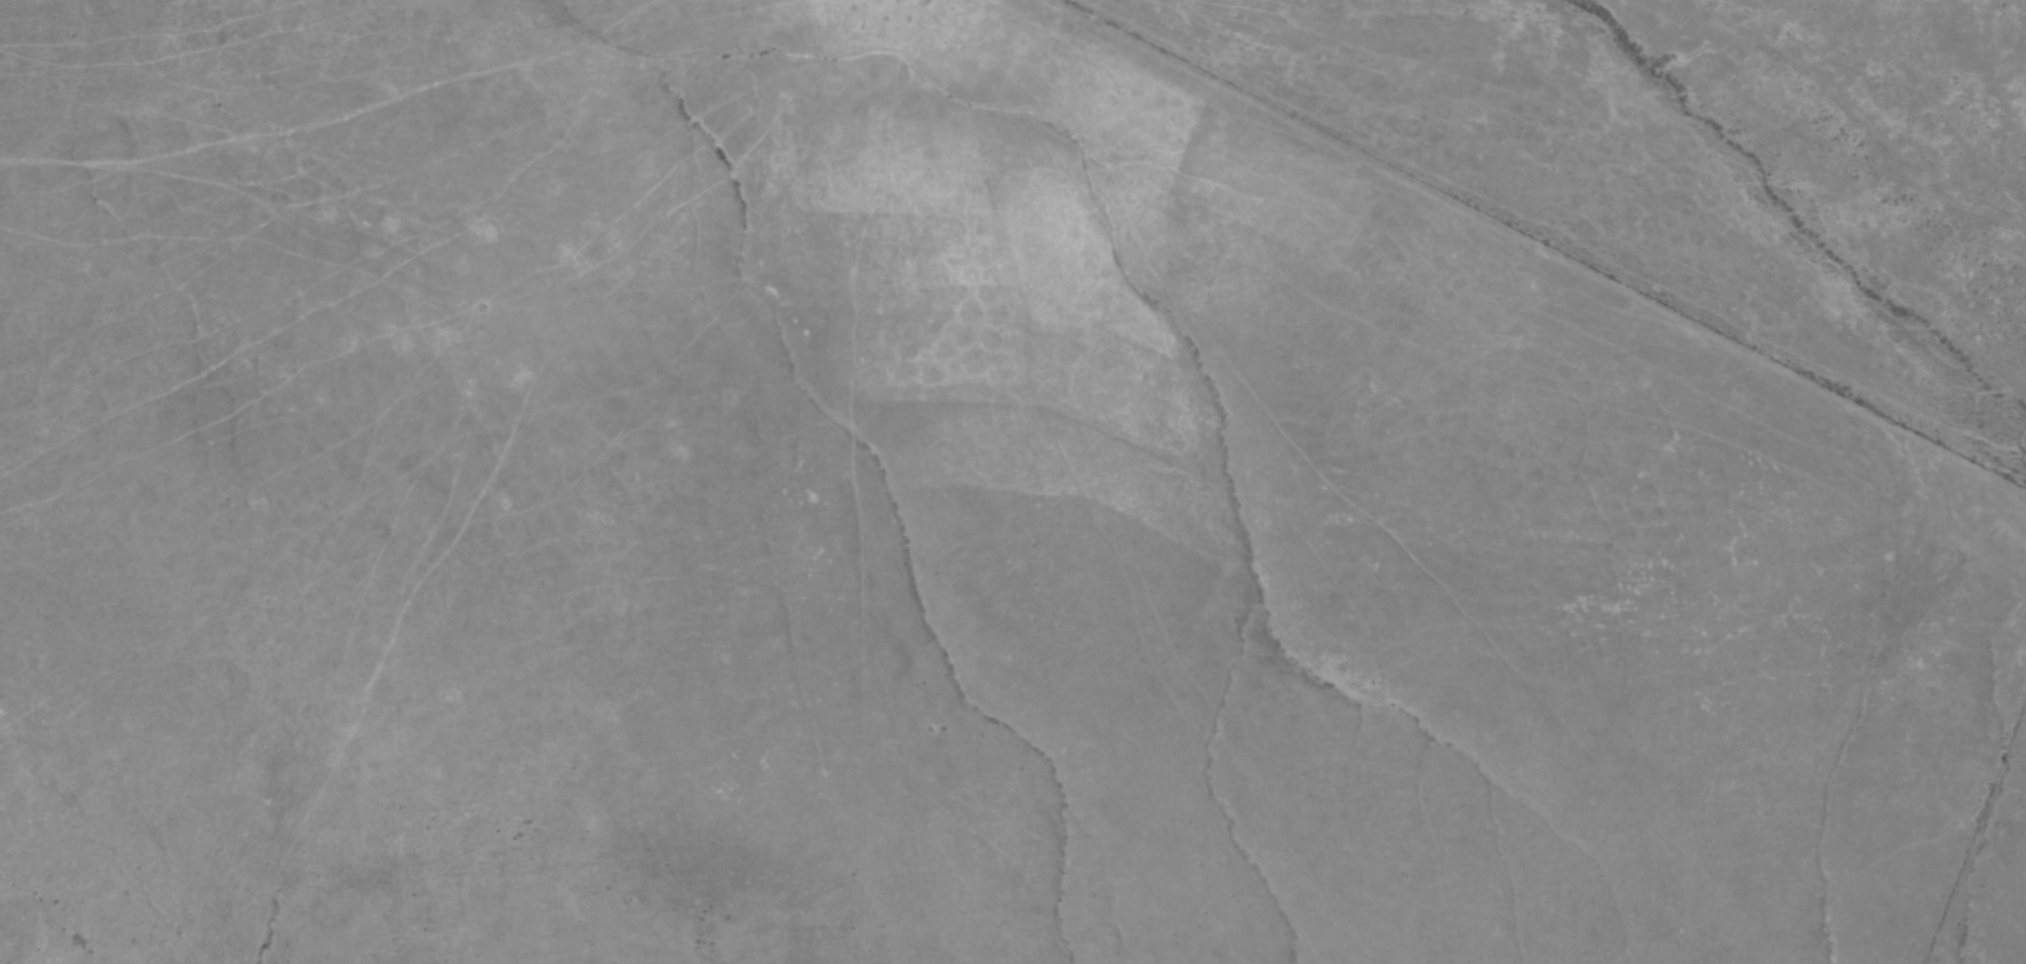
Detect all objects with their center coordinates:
road: (1938, 115)

